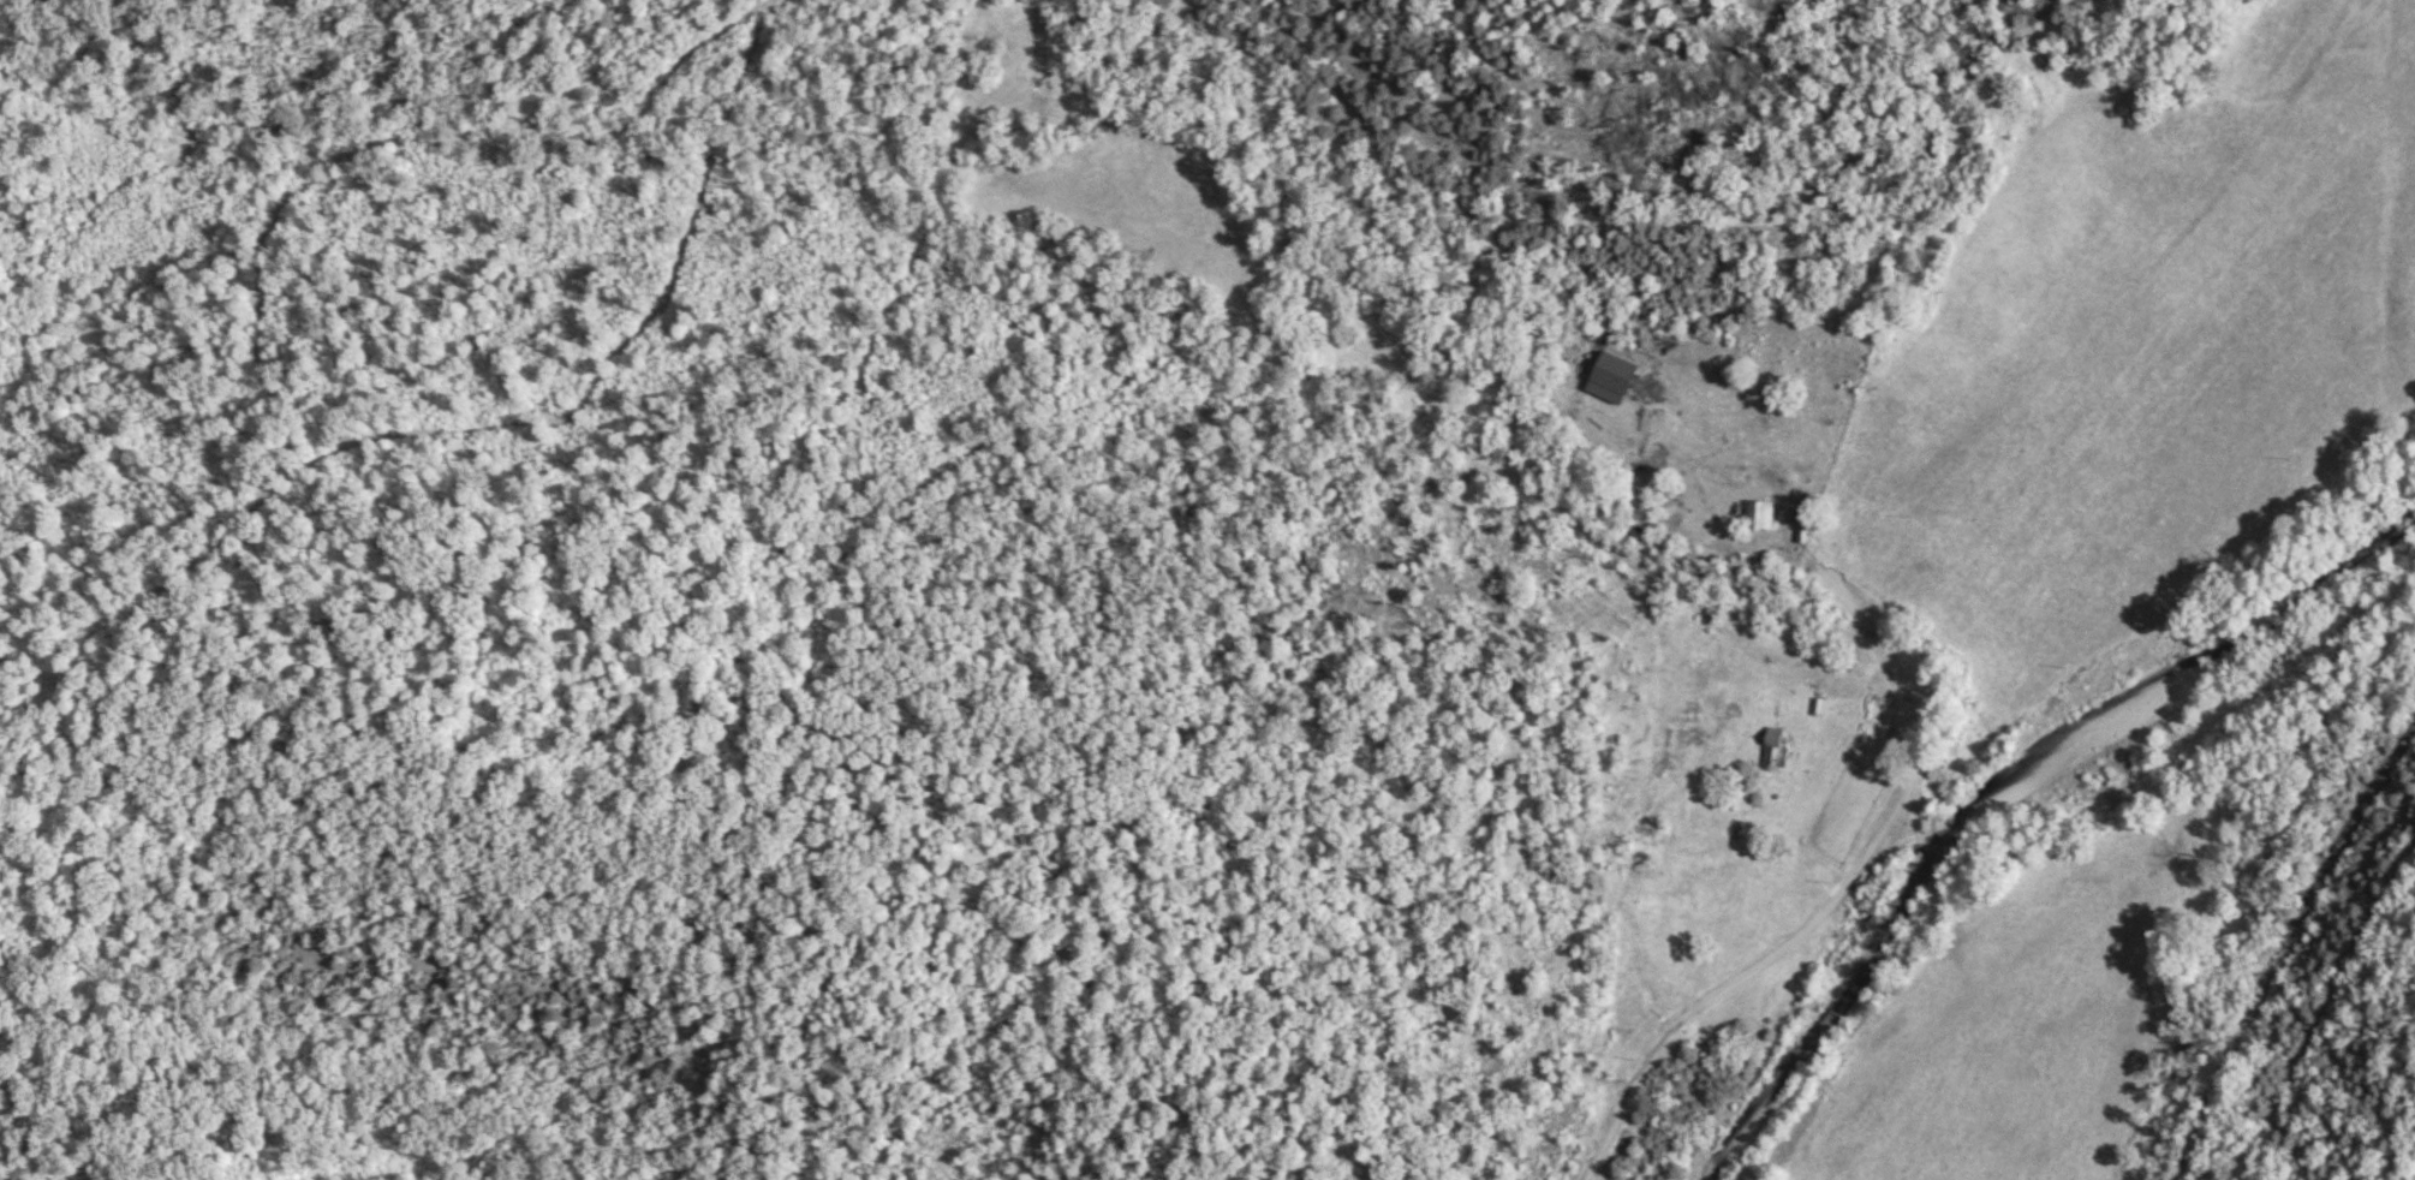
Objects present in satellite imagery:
building: (1614, 380)
building: (1759, 517)
building: (1776, 749)
road: (1801, 932)
railway: (2283, 948)

